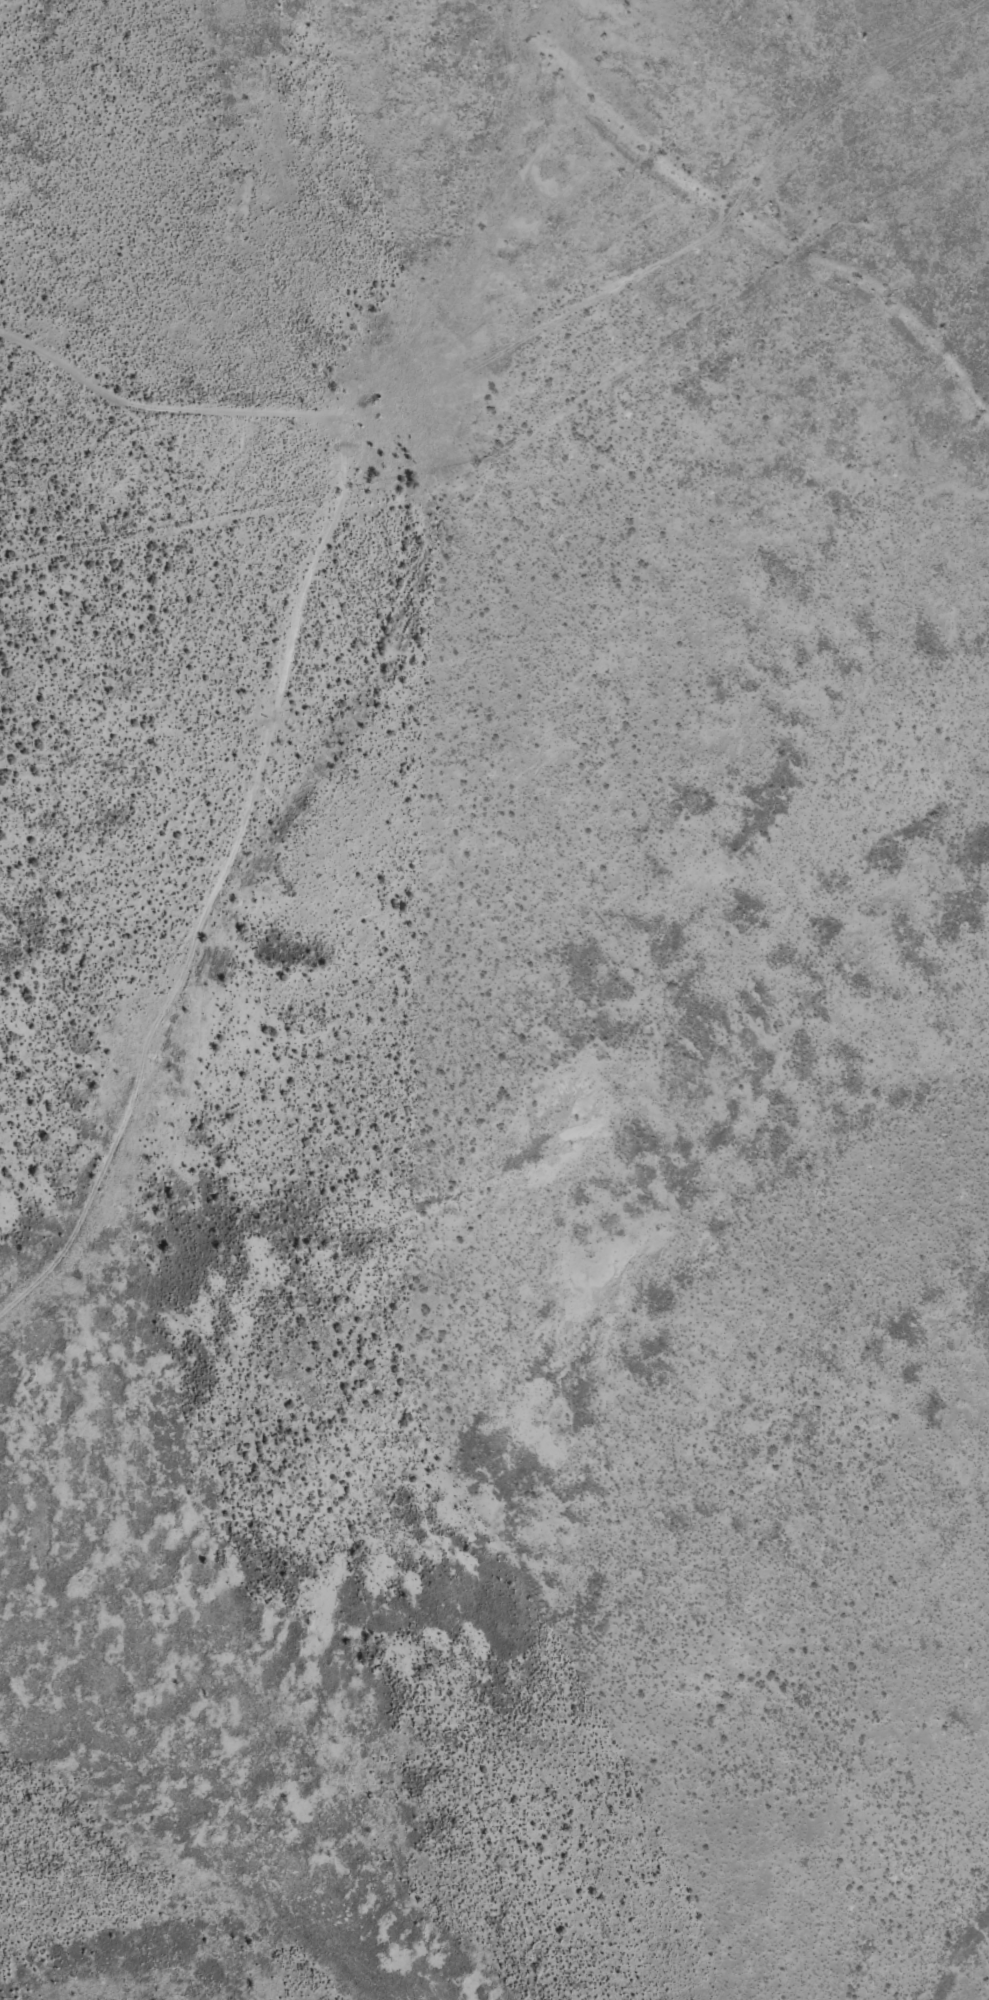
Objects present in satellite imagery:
road: (392, 383)
road: (234, 892)

